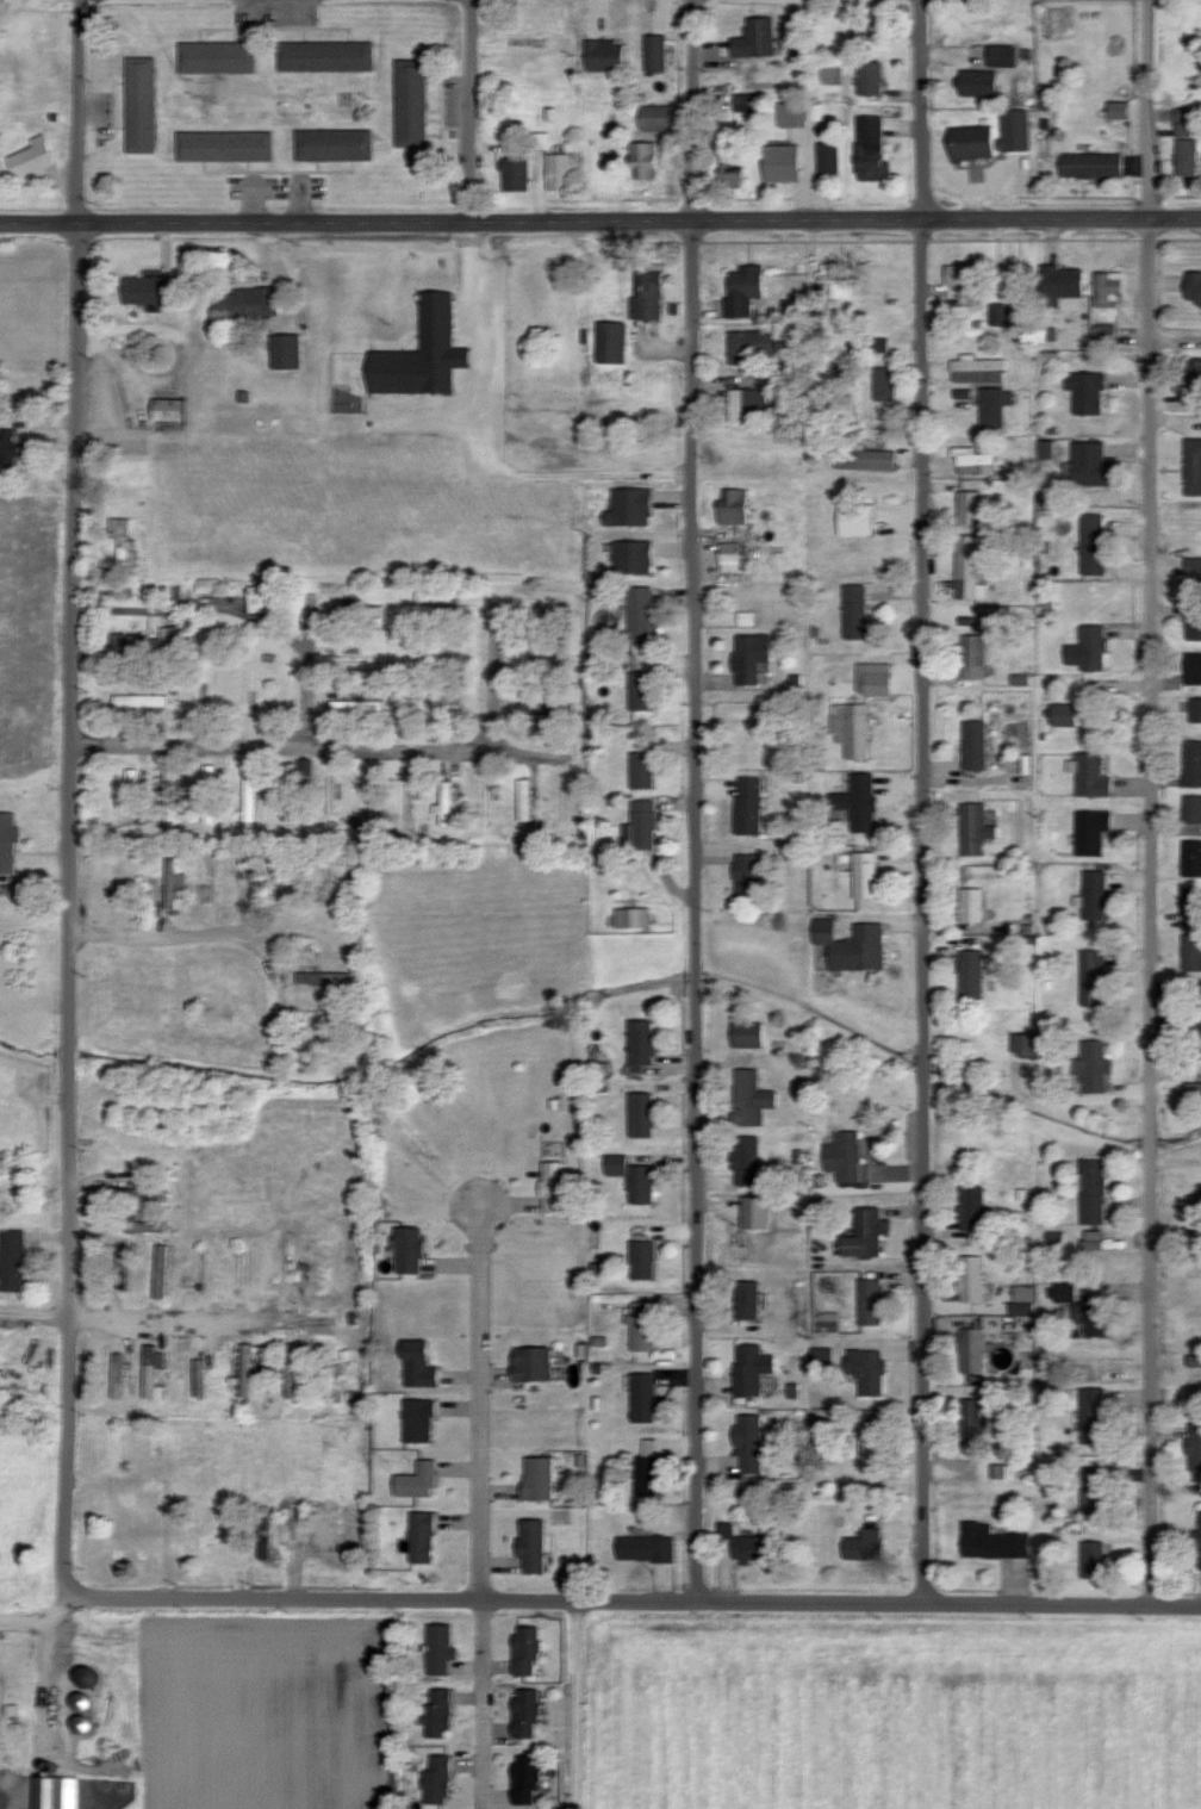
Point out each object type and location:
road: (81, 0)
road: (82, 0)
building: (751, 38)
building: (653, 52)
building: (1001, 55)
building: (329, 56)
building: (600, 56)
building: (220, 57)
building: (866, 77)
building: (977, 83)
building: (407, 102)
building: (144, 105)
road: (1151, 108)
road: (74, 110)
road: (471, 110)
road: (695, 110)
road: (921, 110)
building: (1115, 110)
building: (798, 113)
building: (652, 117)
building: (1182, 122)
building: (990, 136)
building: (540, 139)
building: (338, 144)
building: (229, 147)
building: (867, 149)
building: (1184, 157)
building: (642, 158)
building: (37, 161)
building: (777, 162)
building: (1088, 164)
building: (730, 170)
building: (555, 172)
building: (511, 174)
road: (600, 219)
building: (956, 274)
building: (834, 279)
building: (1060, 282)
building: (1191, 287)
building: (1107, 288)
building: (647, 290)
building: (153, 291)
building: (740, 291)
building: (253, 303)
building: (1103, 335)
building: (609, 342)
building: (748, 344)
building: (877, 344)
building: (291, 352)
building: (417, 353)
building: (976, 368)
building: (1193, 371)
building: (882, 384)
building: (1083, 391)
building: (745, 405)
building: (991, 406)
building: (175, 410)
road: (1176, 417)
road: (473, 447)
building: (1044, 448)
building: (12, 449)
building: (861, 458)
building: (972, 461)
building: (1089, 465)
building: (1191, 466)
building: (626, 506)
building: (967, 509)
building: (853, 518)
building: (123, 541)
building: (1090, 543)
building: (629, 555)
building: (728, 555)
building: (966, 568)
building: (1193, 570)
building: (851, 610)
building: (640, 614)
building: (1191, 627)
building: (1084, 648)
building: (970, 655)
building: (747, 657)
building: (1191, 667)
road: (303, 672)
road: (490, 677)
building: (639, 690)
building: (148, 700)
road: (436, 703)
building: (356, 708)
building: (1057, 714)
building: (848, 729)
road: (284, 744)
building: (971, 744)
road: (528, 753)
building: (1190, 763)
building: (640, 770)
building: (294, 773)
building: (1085, 775)
building: (133, 789)
building: (210, 794)
building: (250, 794)
building: (524, 798)
building: (854, 801)
building: (446, 803)
building: (745, 804)
building: (641, 823)
building: (971, 828)
building: (1087, 831)
building: (6, 841)
building: (1190, 857)
building: (863, 875)
building: (743, 877)
building: (175, 883)
building: (1090, 895)
building: (967, 904)
road: (71, 907)
road: (692, 907)
road: (922, 909)
road: (1150, 909)
building: (629, 918)
road: (323, 919)
road: (172, 932)
building: (1190, 951)
road: (275, 971)
building: (969, 972)
building: (1090, 977)
building: (322, 978)
park: (1176, 1024)
building: (745, 1033)
building: (636, 1042)
building: (1090, 1065)
building: (748, 1098)
building: (636, 1114)
building: (841, 1156)
building: (743, 1160)
building: (612, 1164)
building: (637, 1185)
building: (550, 1187)
building: (1089, 1189)
building: (143, 1194)
building: (970, 1211)
building: (749, 1212)
building: (861, 1233)
building: (1091, 1239)
building: (415, 1248)
building: (14, 1260)
building: (639, 1260)
building: (967, 1279)
building: (1068, 1291)
building: (1023, 1293)
building: (743, 1299)
building: (867, 1301)
building: (1021, 1308)
road: (33, 1317)
building: (827, 1322)
road: (201, 1326)
building: (1070, 1328)
building: (969, 1350)
building: (819, 1353)
building: (1191, 1360)
building: (425, 1363)
building: (539, 1363)
building: (747, 1368)
building: (250, 1369)
building: (864, 1369)
building: (155, 1374)
building: (122, 1387)
building: (641, 1397)
building: (972, 1416)
building: (1091, 1416)
building: (422, 1419)
building: (870, 1442)
building: (1193, 1447)
building: (645, 1468)
building: (997, 1471)
building: (546, 1478)
building: (423, 1480)
building: (1091, 1488)
road: (481, 1507)
building: (428, 1536)
building: (1196, 1540)
building: (989, 1542)
building: (742, 1543)
building: (860, 1544)
building: (540, 1546)
building: (642, 1548)
building: (1089, 1559)
road: (631, 1599)
road: (38, 1618)
building: (446, 1648)
building: (531, 1648)
building: (91, 1702)
road: (578, 1704)
crop: (261, 1709)
crop: (894, 1711)
building: (531, 1712)
building: (444, 1714)
road: (48, 1717)
building: (89, 1724)
building: (443, 1778)
building: (531, 1778)
building: (60, 1792)

